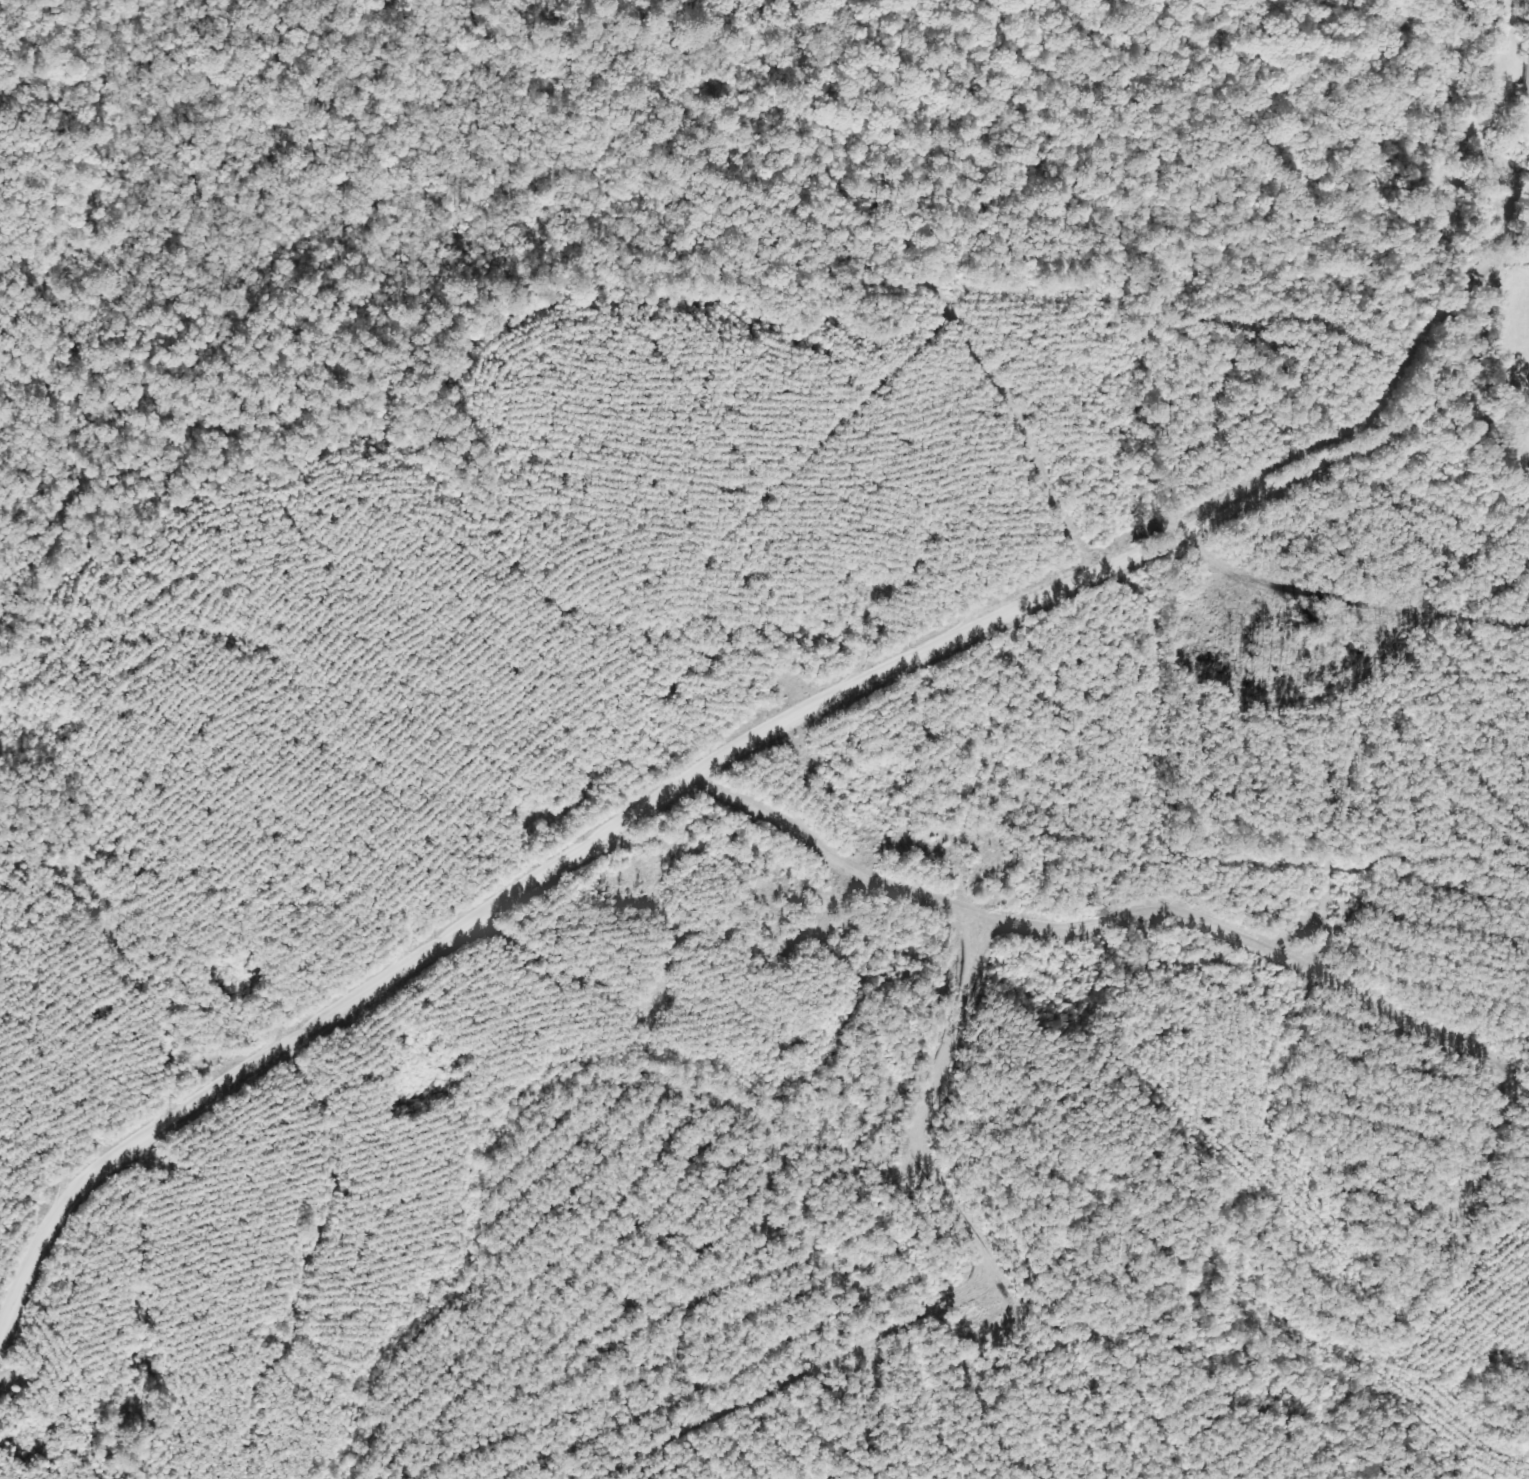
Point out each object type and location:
road: (882, 699)

